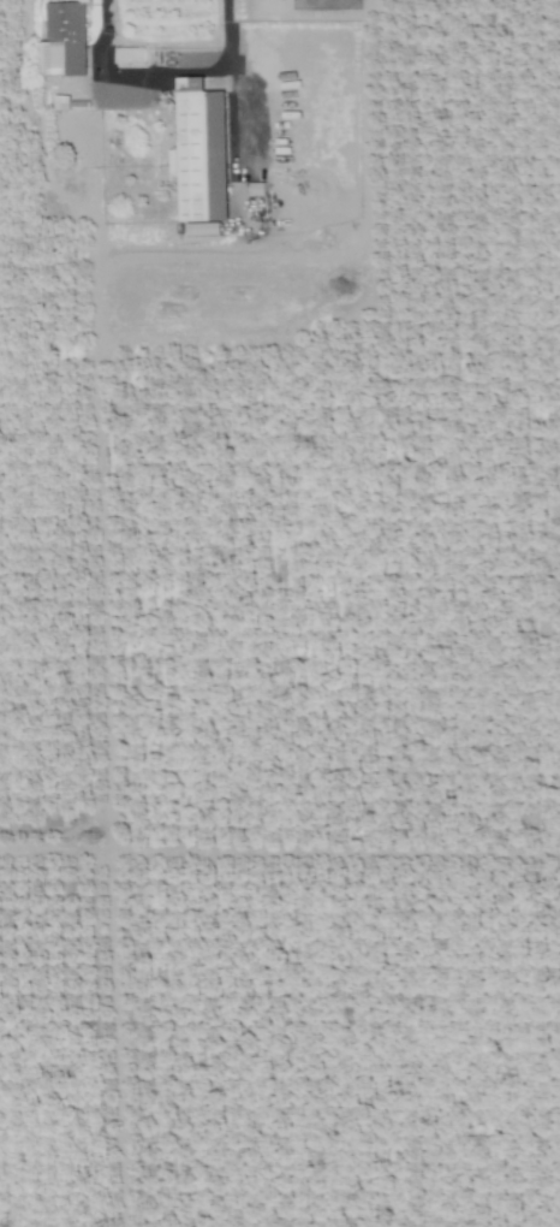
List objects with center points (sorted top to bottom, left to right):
building: (62, 40)
building: (131, 55)
road: (162, 75)
building: (60, 102)
building: (202, 156)
building: (257, 188)

